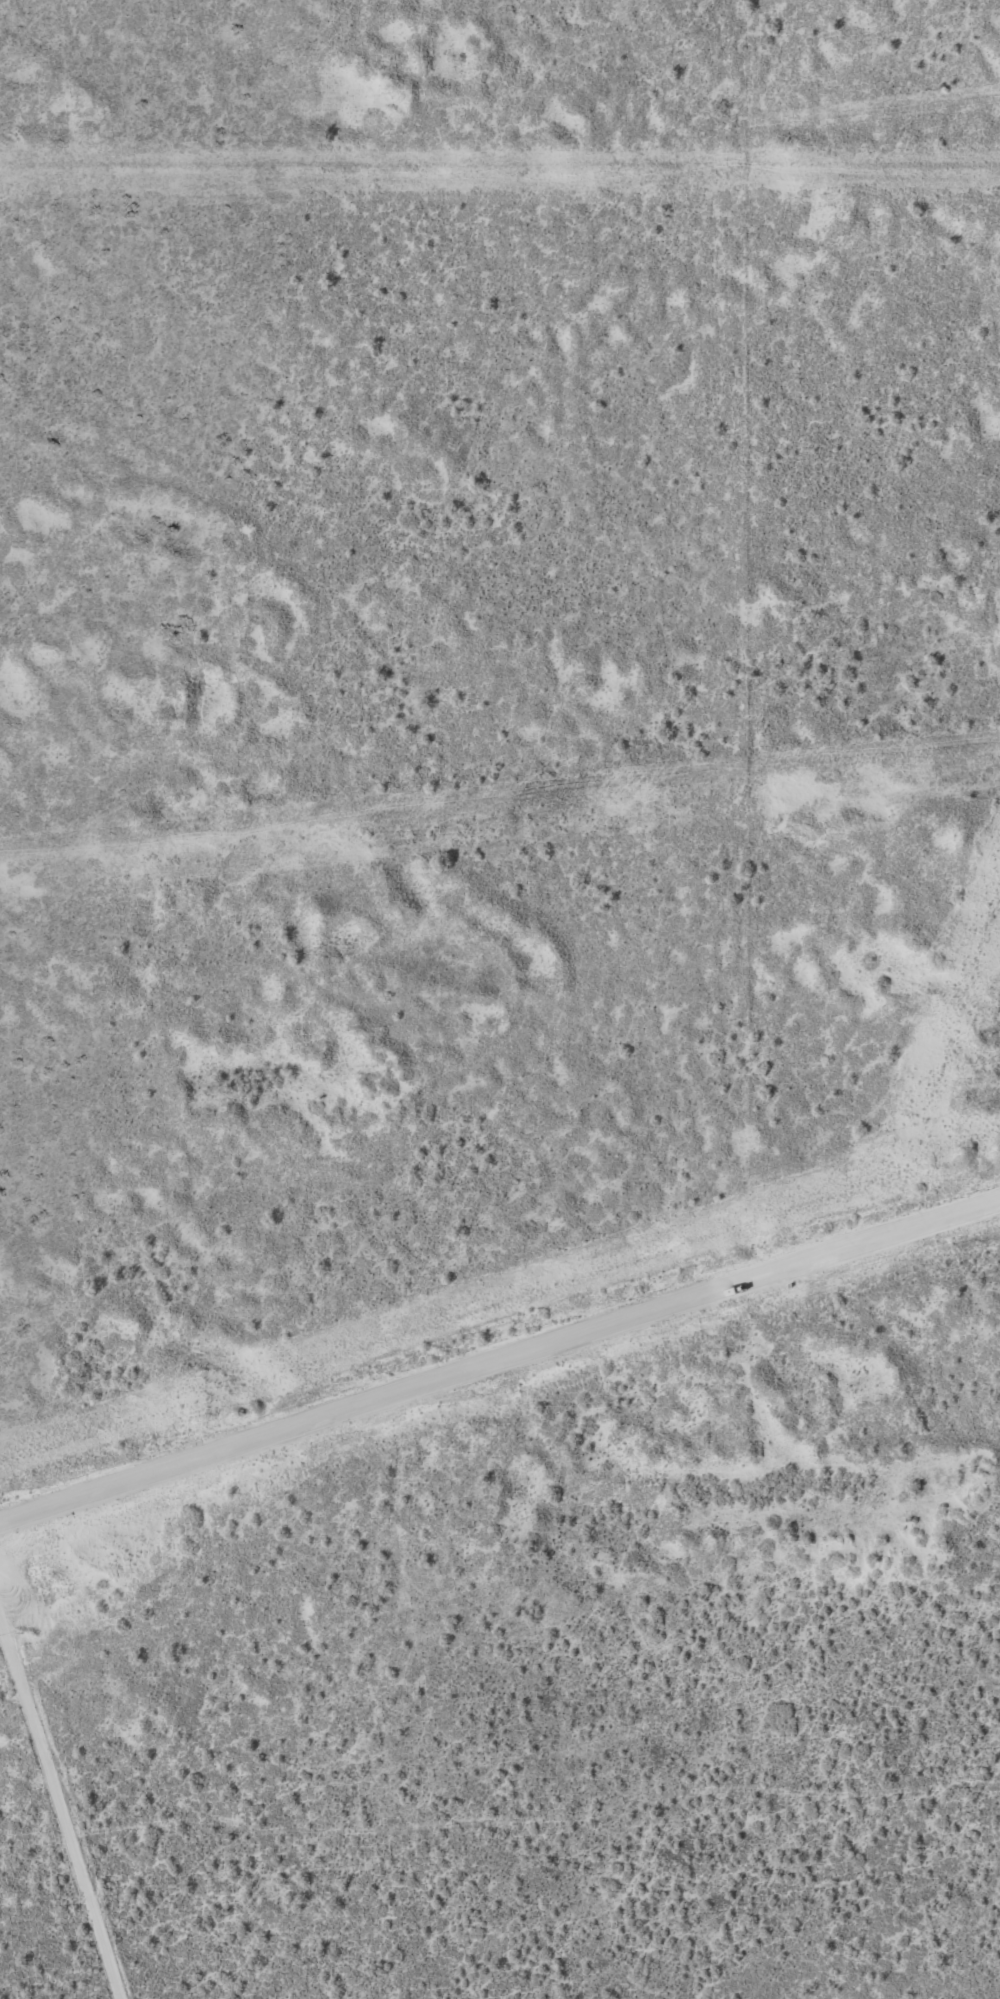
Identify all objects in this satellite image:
road: (500, 1379)

